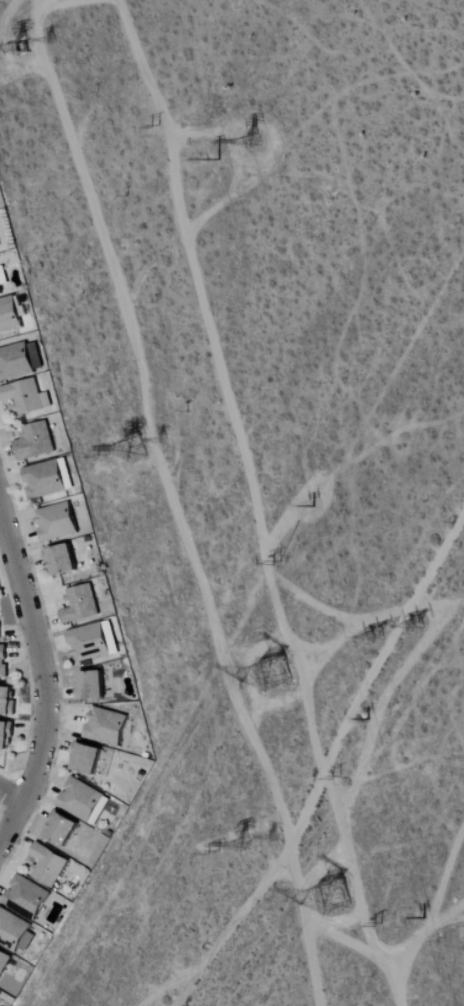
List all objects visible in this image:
power tower: (48, 38)
power tower: (22, 41)
power tower: (157, 124)
power tower: (261, 151)
power tower: (216, 158)
building: (0, 245)
building: (3, 280)
building: (10, 316)
building: (16, 362)
building: (27, 397)
building: (36, 442)
power tower: (165, 442)
power tower: (127, 449)
power tower: (104, 460)
building: (48, 479)
power tower: (310, 505)
building: (58, 522)
power tower: (279, 558)
building: (63, 561)
building: (82, 605)
power tower: (423, 618)
building: (0, 624)
power tower: (375, 638)
building: (4, 662)
power tower: (289, 675)
road: (42, 676)
building: (92, 686)
building: (8, 701)
building: (108, 727)
building: (6, 736)
road: (332, 758)
building: (88, 759)
power tower: (342, 771)
road: (11, 795)
building: (82, 801)
building: (64, 829)
power tower: (277, 836)
power tower: (243, 847)
building: (49, 865)
building: (28, 898)
power tower: (335, 908)
power tower: (417, 915)
power tower: (380, 922)
building: (15, 931)
building: (4, 961)

